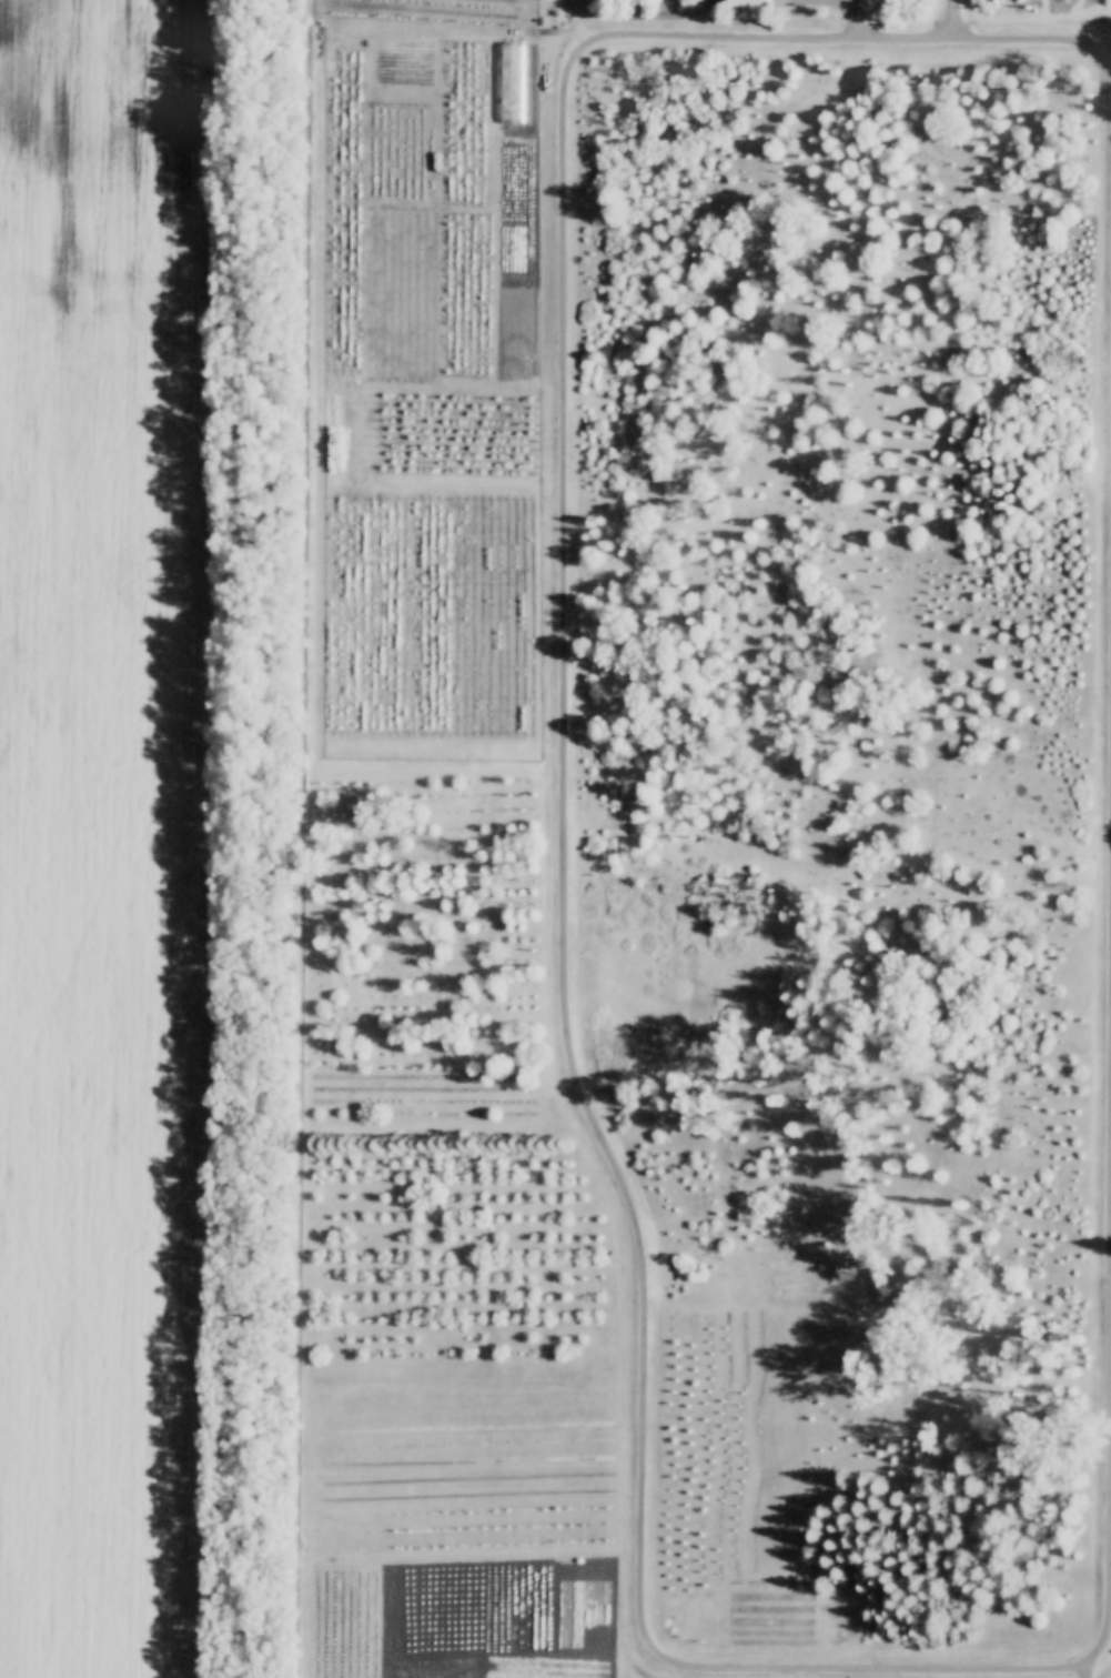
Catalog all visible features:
building: (745, 4)
road: (953, 19)
road: (563, 834)

